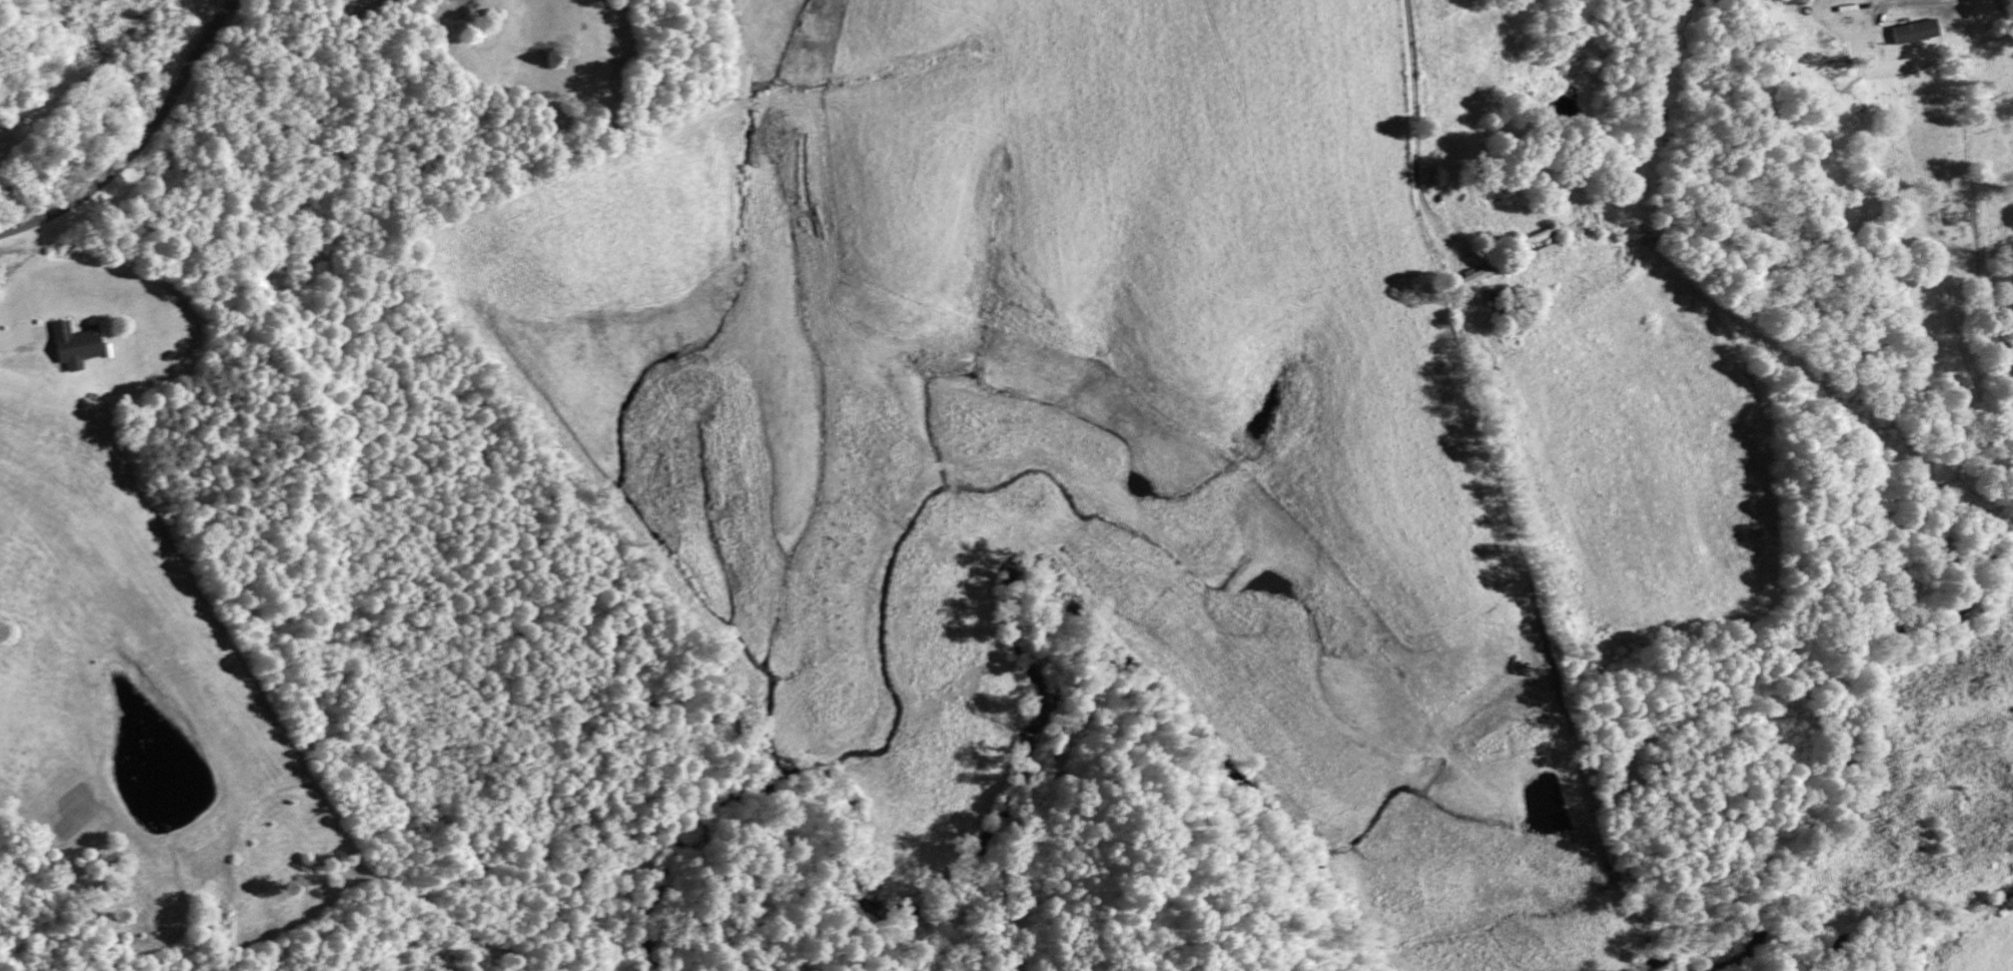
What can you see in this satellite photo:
building: (1797, 2)
building: (1916, 33)
road: (141, 144)
building: (1475, 278)
building: (73, 347)

